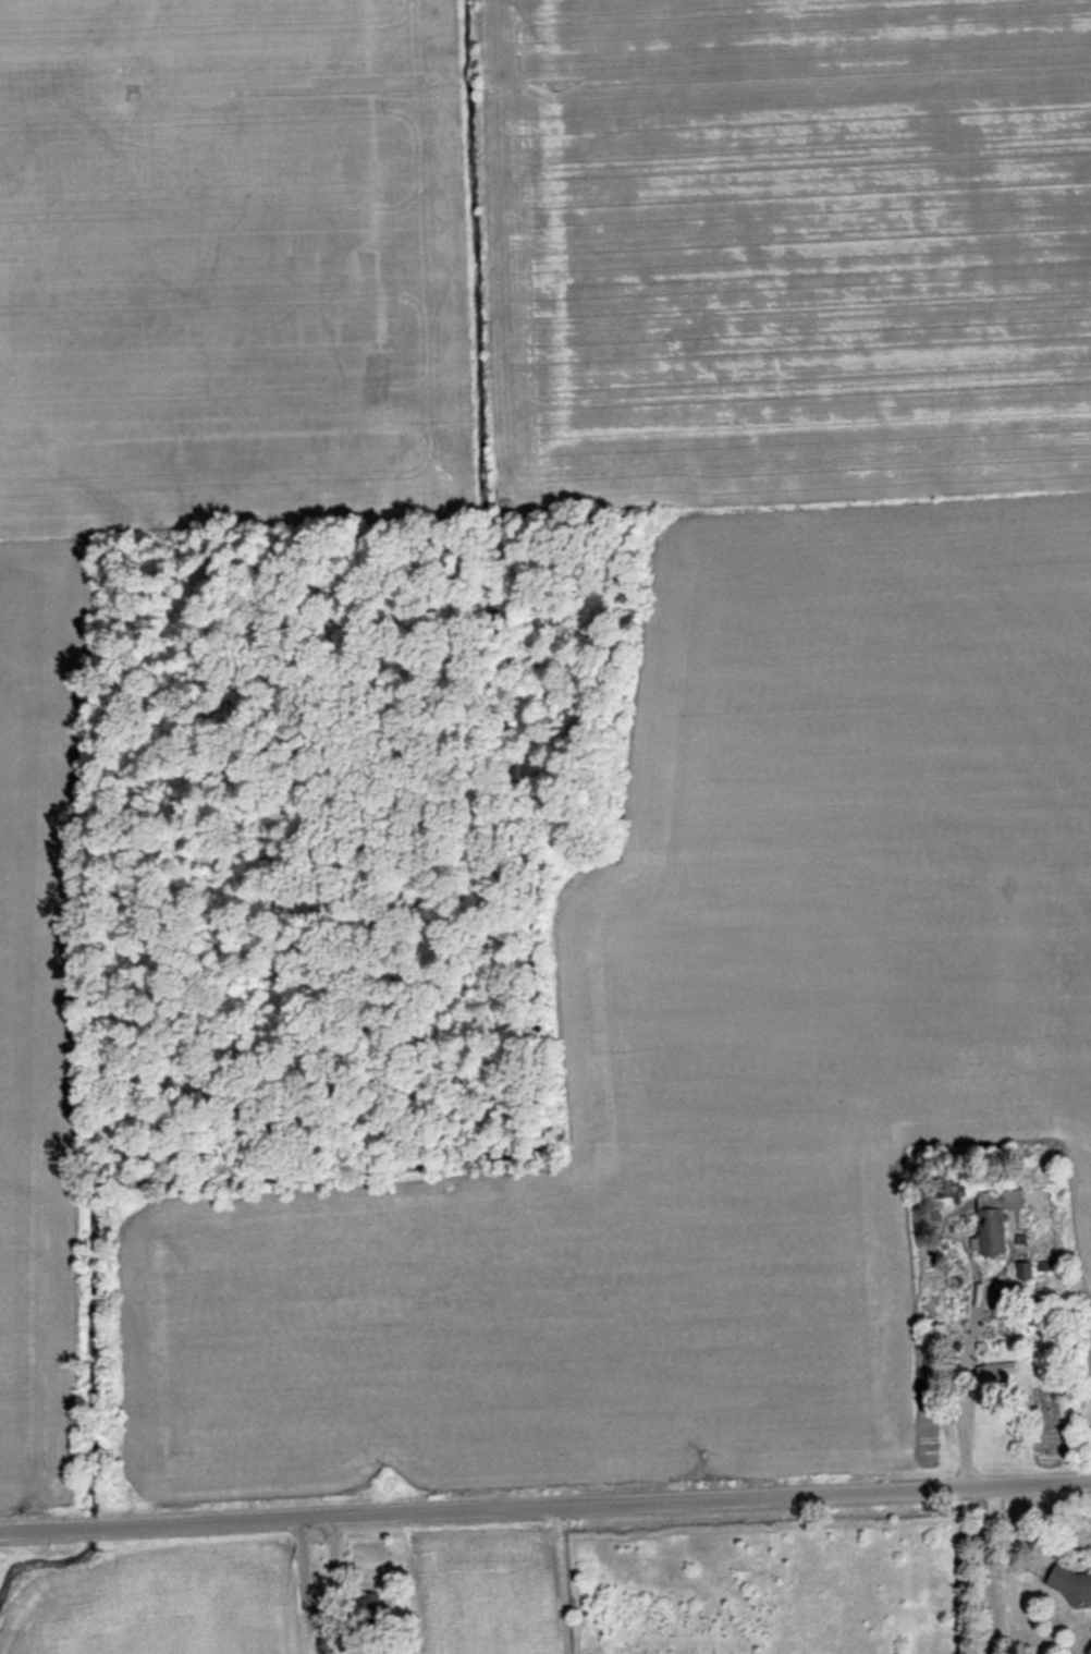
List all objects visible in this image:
building: (992, 1218)
building: (997, 1373)
road: (545, 1504)
building: (1071, 1586)

